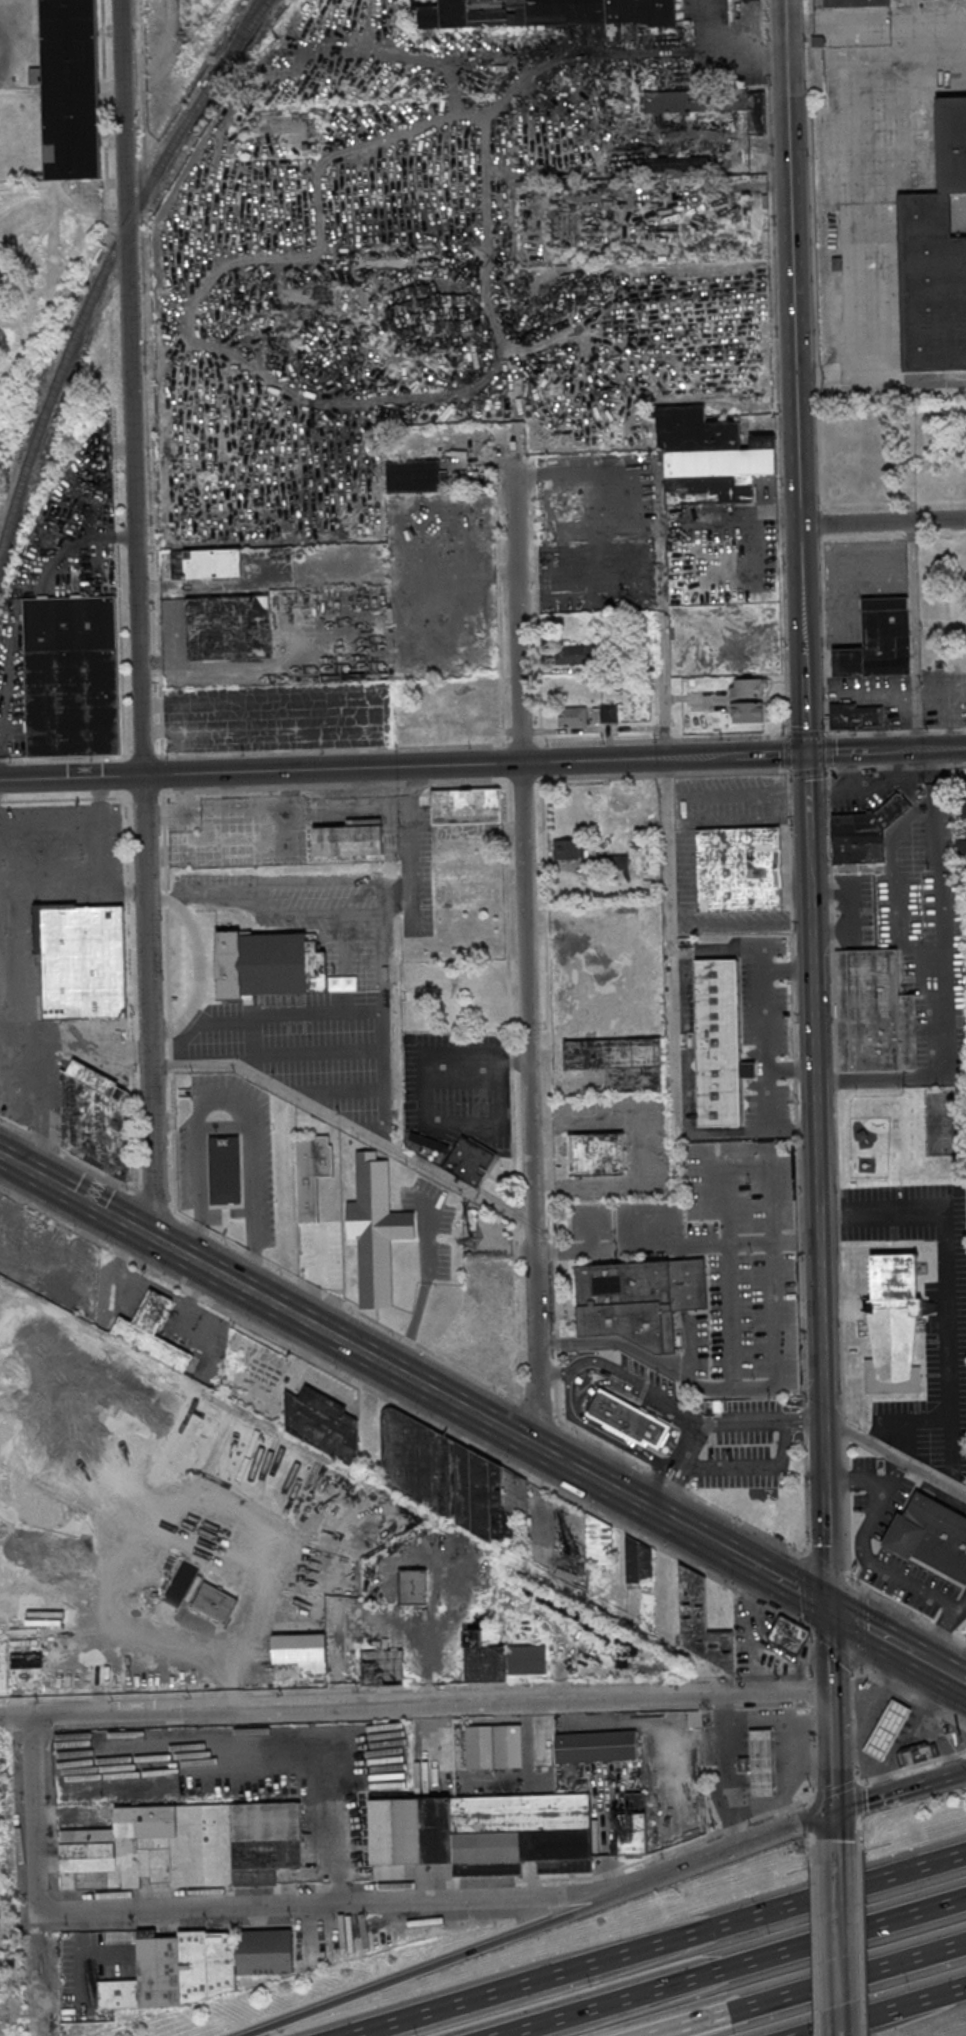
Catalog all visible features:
building: (858, 5)
building: (605, 11)
building: (475, 13)
railway: (250, 15)
road: (875, 22)
road: (727, 50)
building: (70, 88)
building: (711, 103)
building: (951, 148)
building: (681, 166)
building: (564, 226)
road: (874, 234)
building: (932, 288)
railway: (98, 289)
road: (776, 368)
building: (695, 429)
building: (413, 475)
building: (716, 475)
road: (882, 523)
building: (206, 563)
road: (137, 619)
building: (229, 627)
road: (914, 635)
building: (878, 640)
building: (574, 654)
building: (72, 676)
building: (748, 687)
building: (747, 711)
building: (609, 713)
road: (804, 713)
building: (571, 716)
building: (856, 716)
road: (735, 737)
road: (885, 751)
road: (786, 752)
traffic signals: (805, 754)
road: (402, 766)
road: (938, 767)
building: (964, 798)
building: (465, 806)
building: (891, 809)
road: (48, 812)
building: (350, 837)
building: (858, 838)
building: (568, 849)
road: (98, 855)
building: (738, 869)
building: (468, 880)
road: (895, 883)
parking lot: (916, 932)
road: (526, 953)
building: (83, 960)
building: (269, 964)
road: (786, 968)
road: (672, 978)
road: (943, 980)
road: (683, 993)
building: (877, 1013)
parking lot: (766, 1032)
road: (74, 1039)
building: (718, 1041)
building: (619, 1062)
road: (829, 1079)
road: (424, 1106)
building: (96, 1113)
park: (946, 1123)
road: (346, 1132)
building: (427, 1145)
building: (596, 1153)
building: (471, 1158)
building: (226, 1169)
building: (311, 1172)
building: (375, 1229)
road: (946, 1268)
building: (639, 1299)
building: (895, 1314)
road: (801, 1315)
building: (485, 1323)
building: (152, 1330)
road: (353, 1348)
parking lot: (946, 1359)
road: (553, 1374)
road: (858, 1376)
road: (482, 1380)
road: (625, 1380)
road: (866, 1390)
road: (405, 1409)
building: (627, 1419)
road: (905, 1420)
building: (324, 1424)
road: (895, 1459)
road: (677, 1465)
road: (756, 1467)
road: (902, 1467)
road: (861, 1475)
building: (454, 1481)
road: (824, 1481)
road: (656, 1483)
road: (675, 1493)
parking lot: (874, 1514)
road: (867, 1531)
building: (931, 1536)
road: (720, 1547)
building: (639, 1559)
road: (745, 1561)
road: (826, 1572)
building: (413, 1586)
road: (794, 1589)
building: (214, 1601)
traffic signals: (827, 1609)
building: (699, 1622)
road: (860, 1627)
road: (944, 1635)
building: (789, 1636)
road: (874, 1636)
road: (342, 1642)
road: (828, 1650)
road: (835, 1650)
building: (483, 1658)
building: (382, 1667)
road: (864, 1670)
road: (944, 1676)
road: (415, 1707)
road: (830, 1716)
building: (889, 1732)
building: (494, 1746)
building: (596, 1747)
road: (250, 1753)
building: (918, 1755)
building: (762, 1765)
road: (948, 1778)
road: (881, 1798)
road: (832, 1799)
traffic signals: (833, 1812)
road: (34, 1815)
building: (633, 1825)
building: (484, 1833)
building: (186, 1847)
road: (725, 1852)
road: (327, 1903)
road: (662, 1944)
road: (836, 1946)
road: (813, 1948)
building: (199, 1966)
road: (438, 1966)
road: (735, 1966)
road: (809, 1988)
road: (892, 2013)

